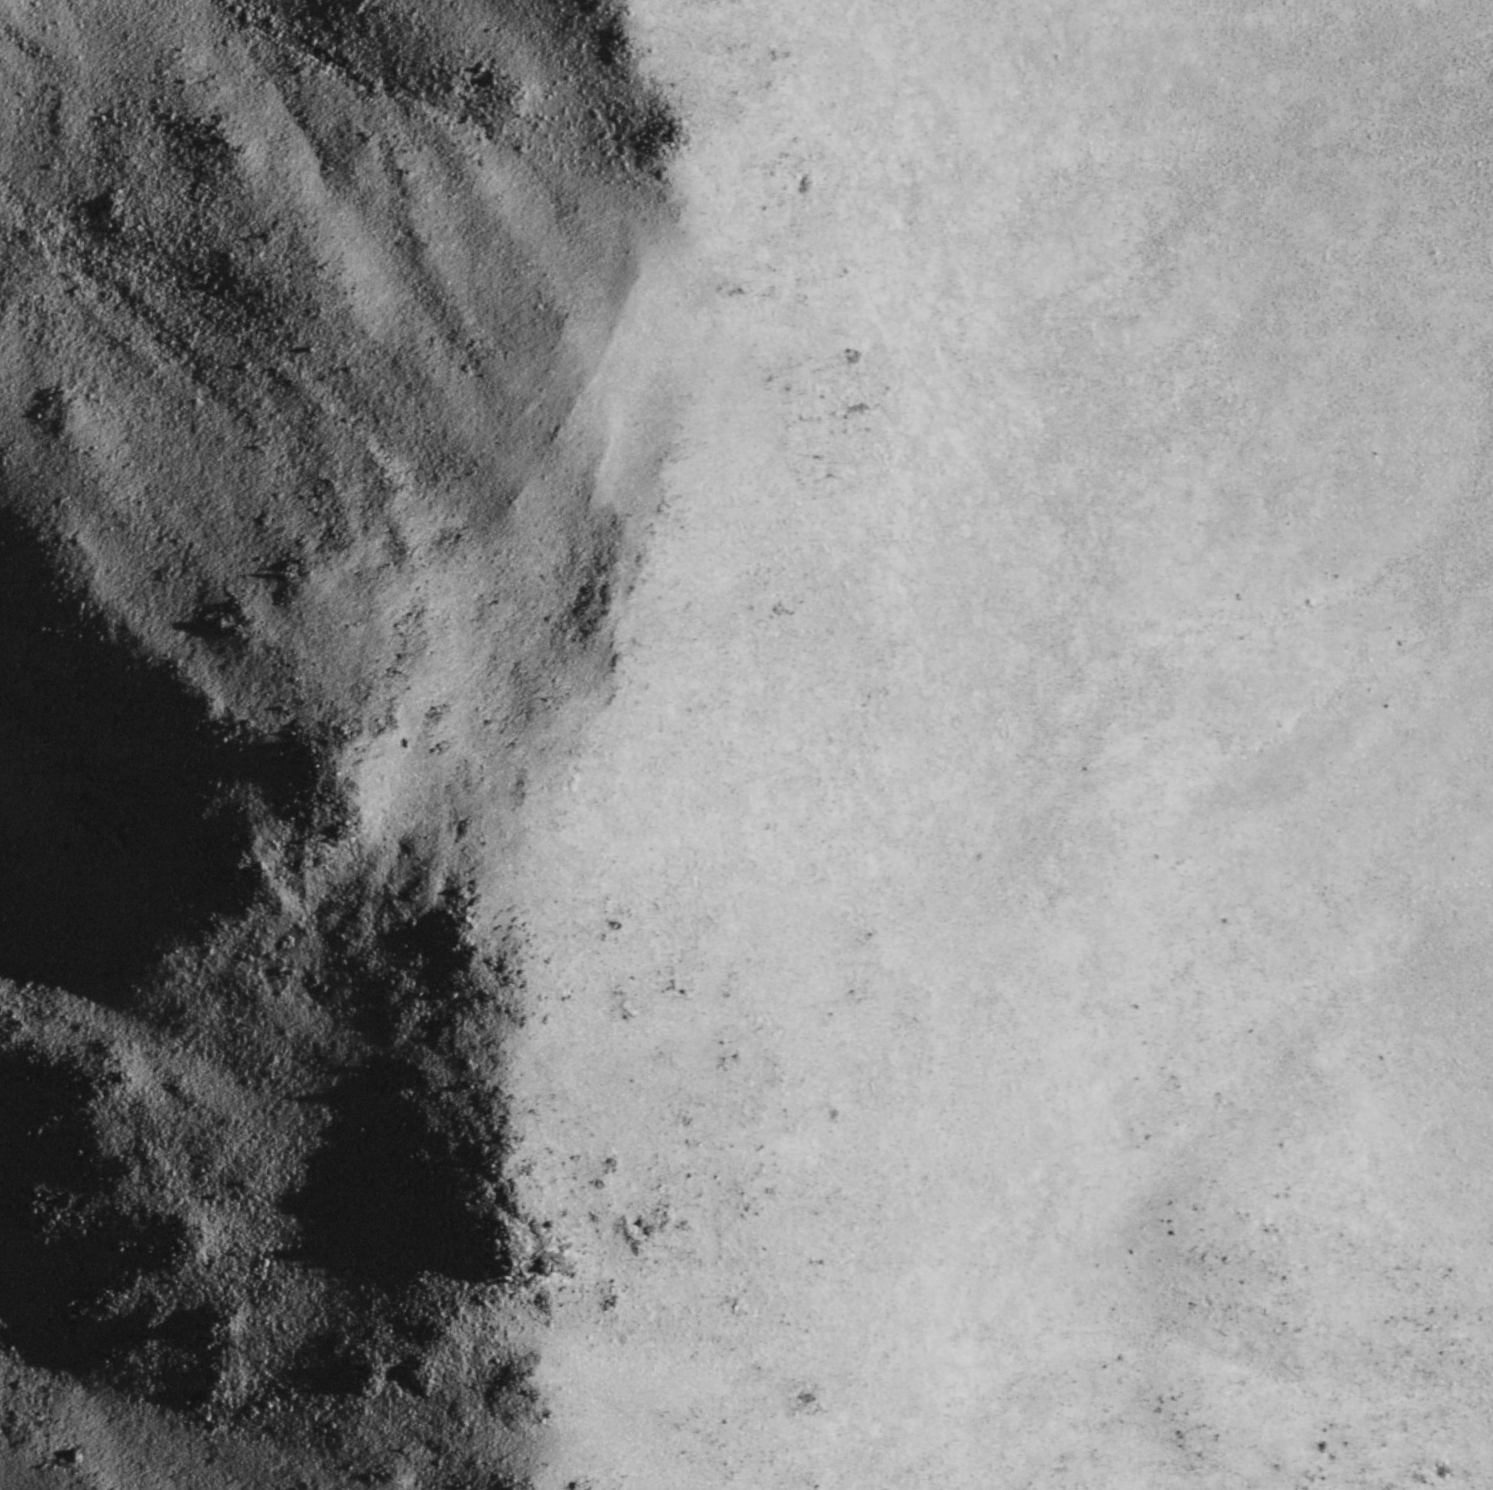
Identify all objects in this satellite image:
crop: (1360, 333)

